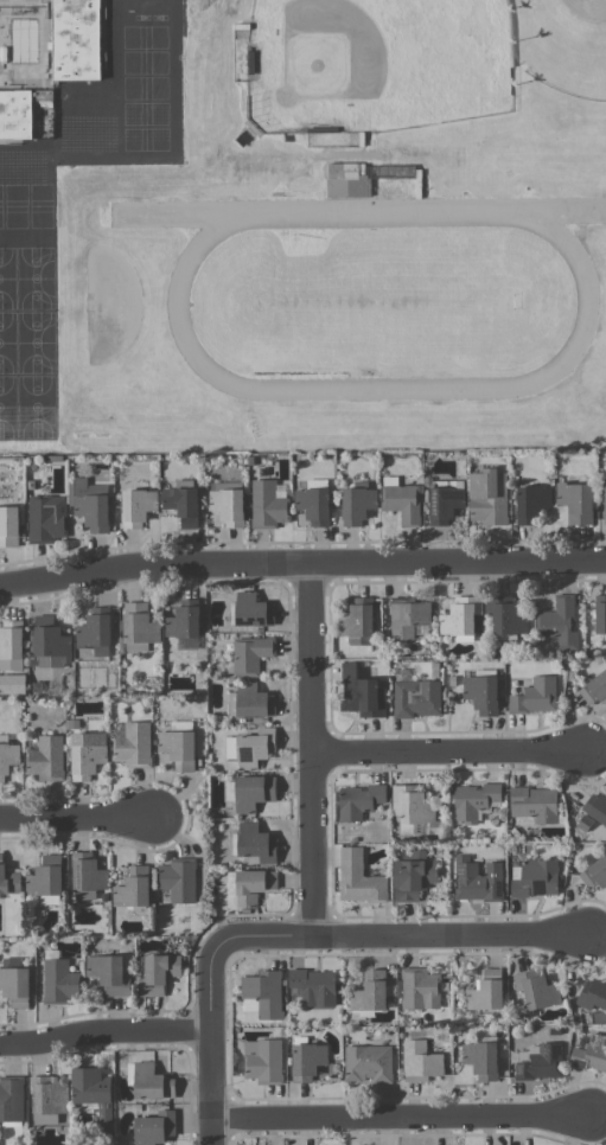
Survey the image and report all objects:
building: (75, 39)
building: (18, 111)
building: (345, 169)
building: (32, 423)
building: (487, 497)
building: (445, 500)
building: (181, 501)
building: (576, 501)
building: (357, 503)
building: (403, 503)
building: (531, 503)
building: (605, 503)
building: (91, 504)
building: (267, 505)
building: (313, 505)
building: (138, 506)
building: (228, 506)
building: (46, 518)
building: (8, 526)
road: (301, 564)
building: (250, 610)
building: (460, 615)
building: (408, 616)
building: (506, 616)
building: (600, 616)
building: (358, 620)
building: (139, 622)
building: (184, 623)
building: (557, 625)
building: (95, 631)
building: (49, 641)
building: (11, 645)
building: (250, 653)
building: (594, 689)
building: (361, 692)
building: (481, 693)
building: (534, 695)
building: (416, 698)
building: (250, 701)
building: (133, 744)
building: (178, 748)
building: (250, 748)
road: (312, 753)
road: (449, 753)
building: (87, 754)
building: (46, 757)
building: (7, 759)
building: (253, 792)
building: (358, 800)
building: (474, 800)
building: (534, 805)
building: (595, 807)
building: (416, 811)
road: (76, 815)
building: (255, 842)
building: (412, 874)
building: (594, 874)
building: (87, 876)
building: (358, 877)
building: (534, 877)
building: (46, 879)
building: (179, 879)
building: (477, 879)
building: (8, 881)
building: (254, 884)
building: (133, 888)
building: (231, 888)
road: (400, 941)
building: (109, 973)
building: (158, 973)
building: (59, 981)
building: (15, 986)
building: (314, 986)
building: (420, 989)
building: (536, 989)
building: (370, 991)
building: (486, 991)
building: (262, 993)
building: (592, 993)
road: (107, 1034)
road: (215, 1043)
building: (589, 1051)
building: (420, 1058)
building: (262, 1060)
building: (481, 1060)
building: (308, 1061)
building: (541, 1062)
building: (368, 1063)
building: (151, 1081)
building: (94, 1093)
building: (49, 1098)
building: (11, 1100)
building: (85, 1107)
road: (402, 1121)
building: (154, 1127)

